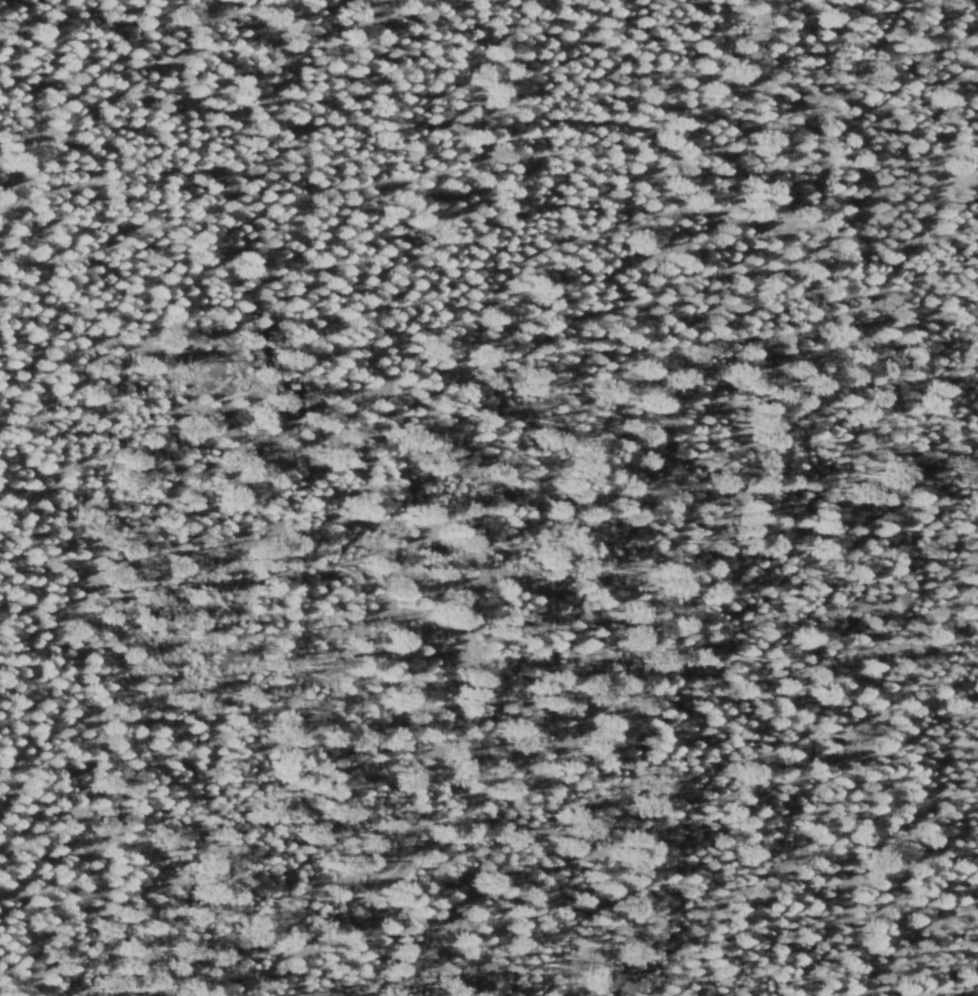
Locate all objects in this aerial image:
road: (55, 98)
road: (968, 152)
road: (634, 618)

